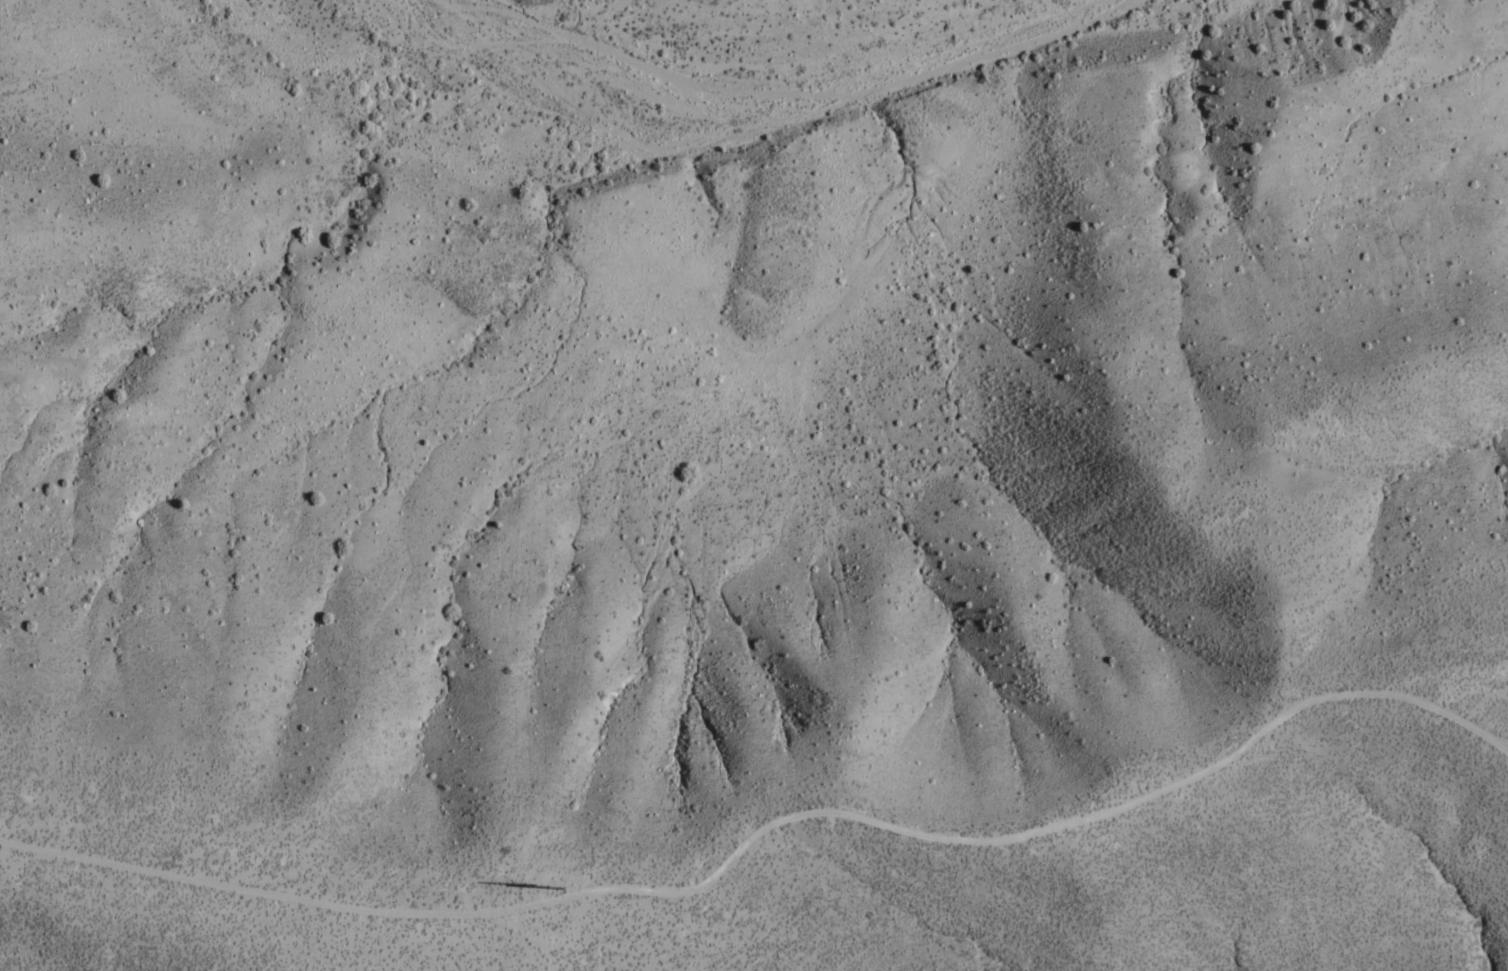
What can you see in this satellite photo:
road: (763, 824)
power tower: (547, 890)

